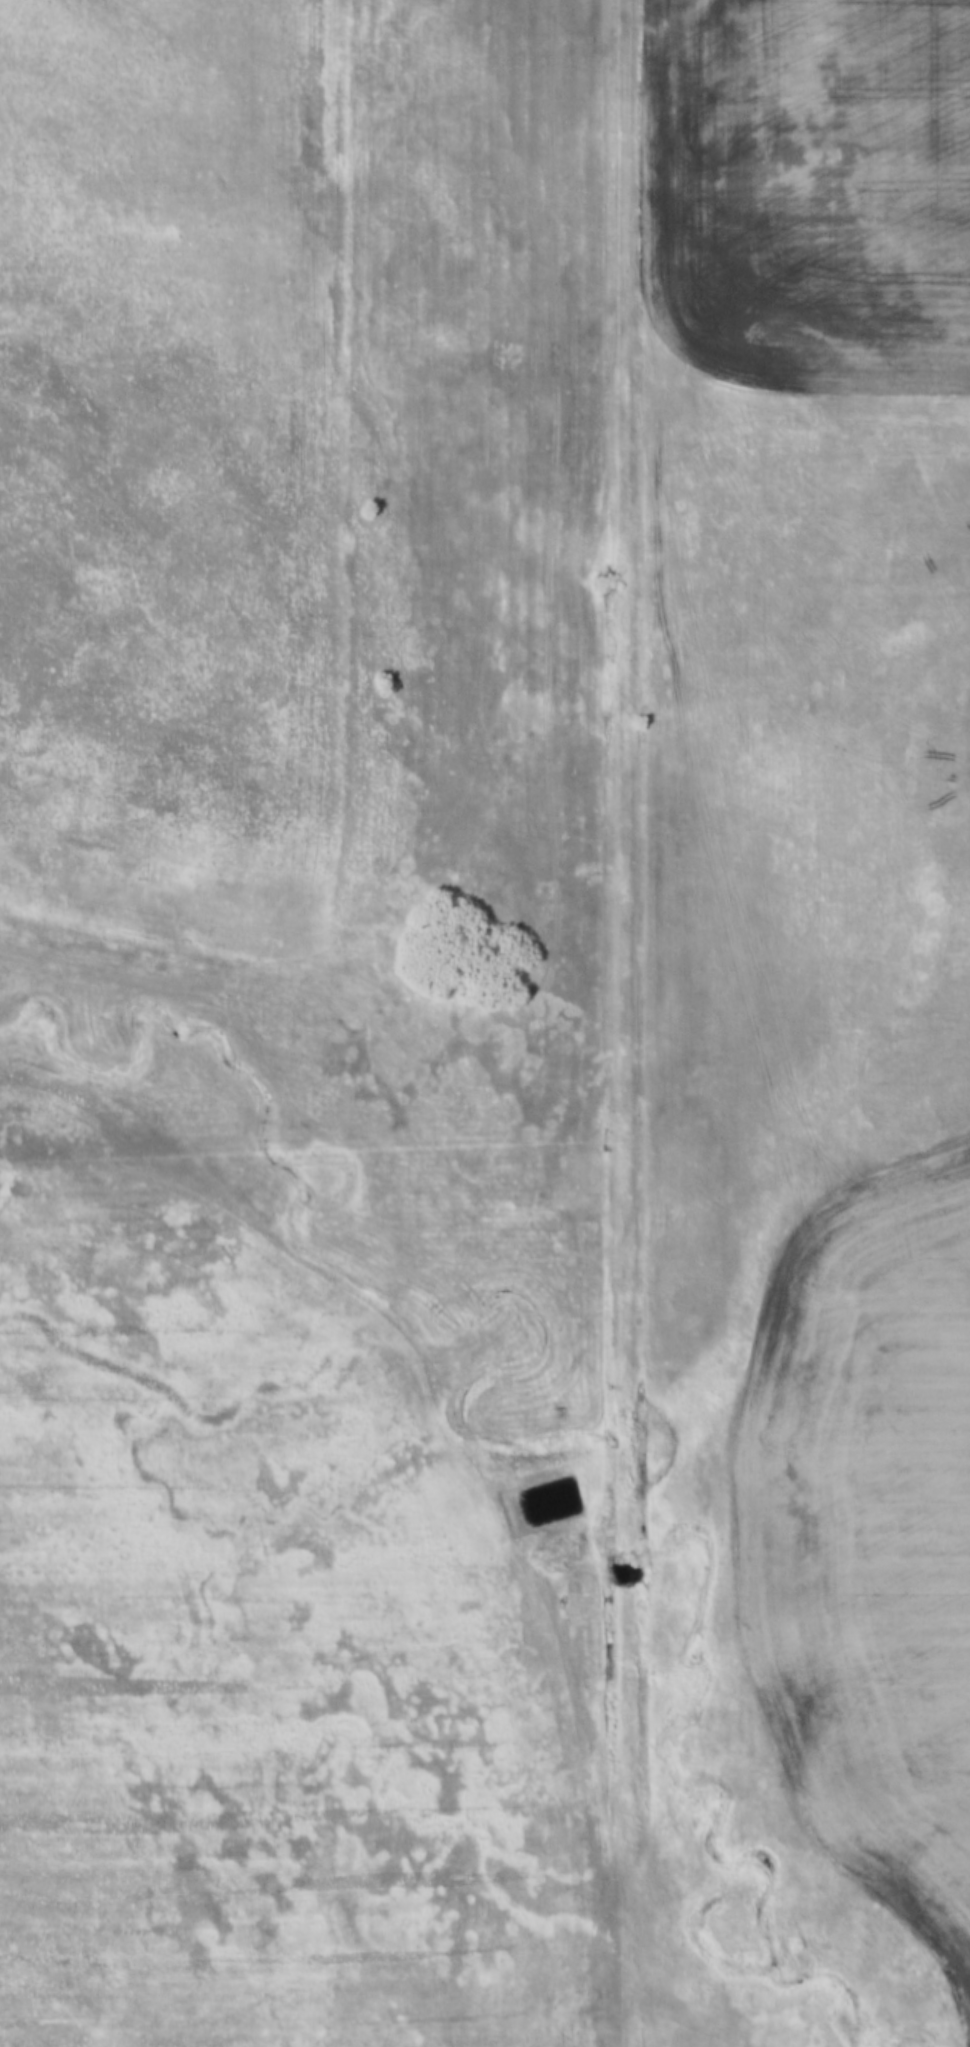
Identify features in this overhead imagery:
road: (636, 1023)

